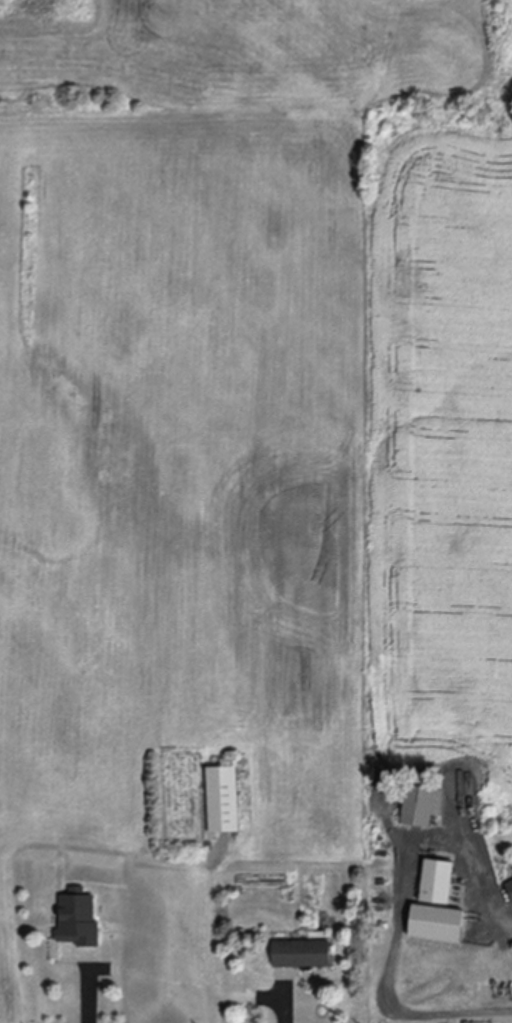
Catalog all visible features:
building: (490, 791)
building: (224, 798)
building: (422, 804)
building: (438, 880)
building: (510, 886)
road: (404, 906)
building: (79, 918)
building: (437, 922)
building: (302, 952)

